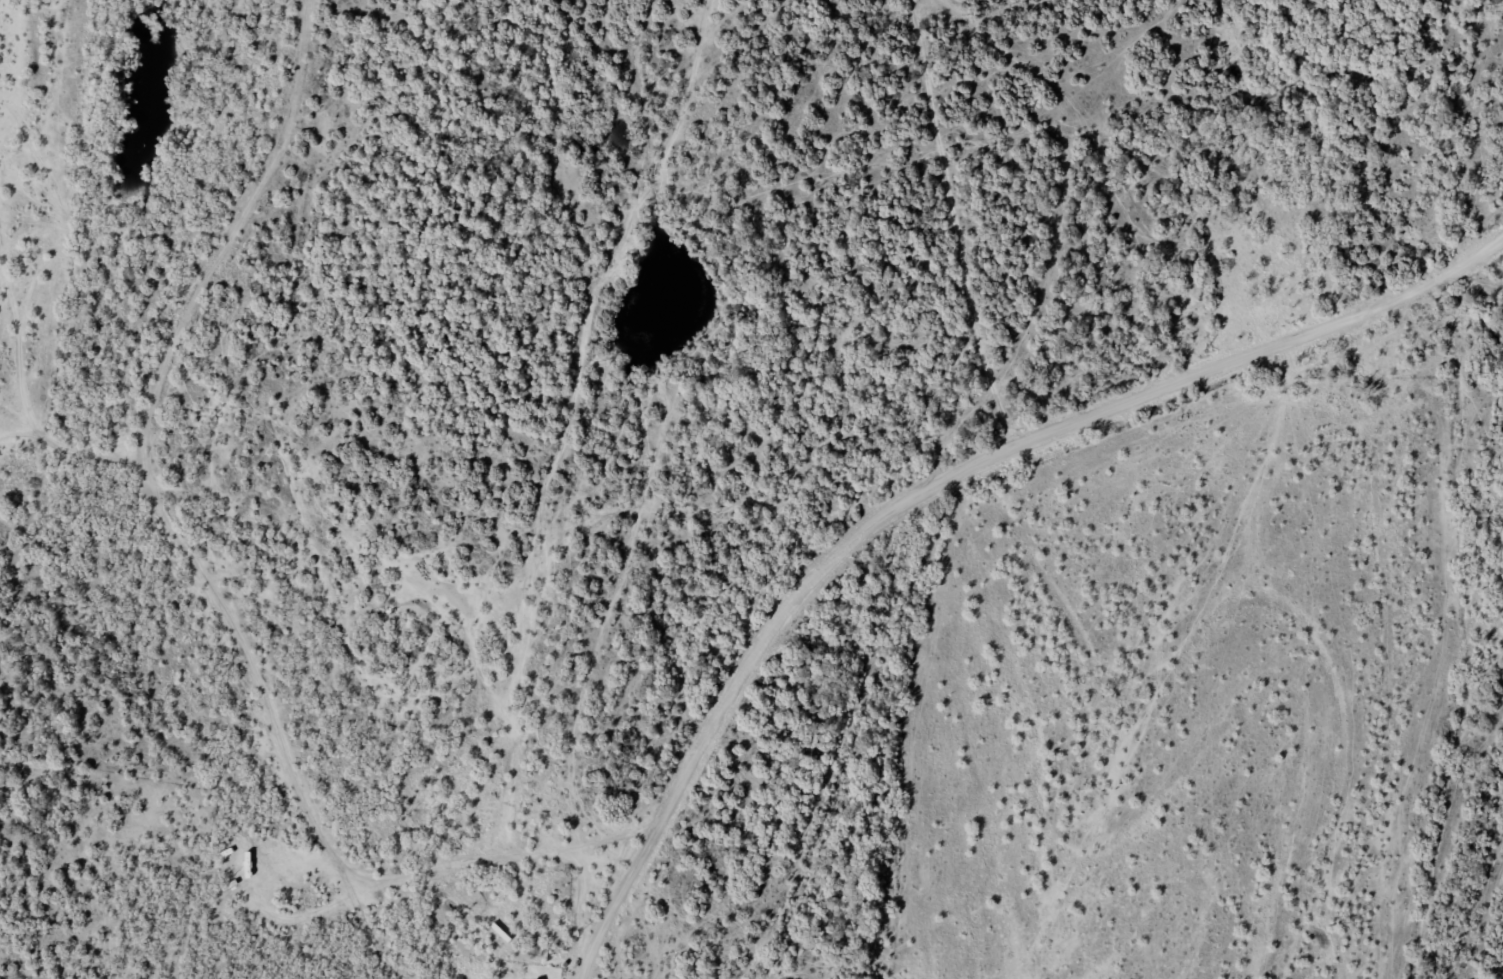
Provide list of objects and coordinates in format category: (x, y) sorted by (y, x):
road: (972, 468)
road: (218, 558)
road: (600, 943)

